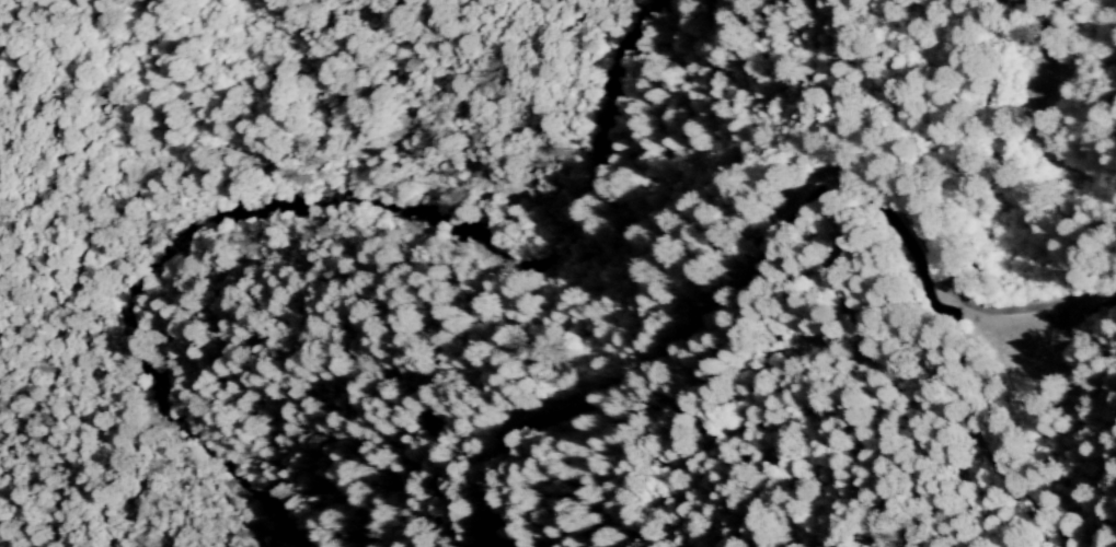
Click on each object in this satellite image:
road: (967, 440)

